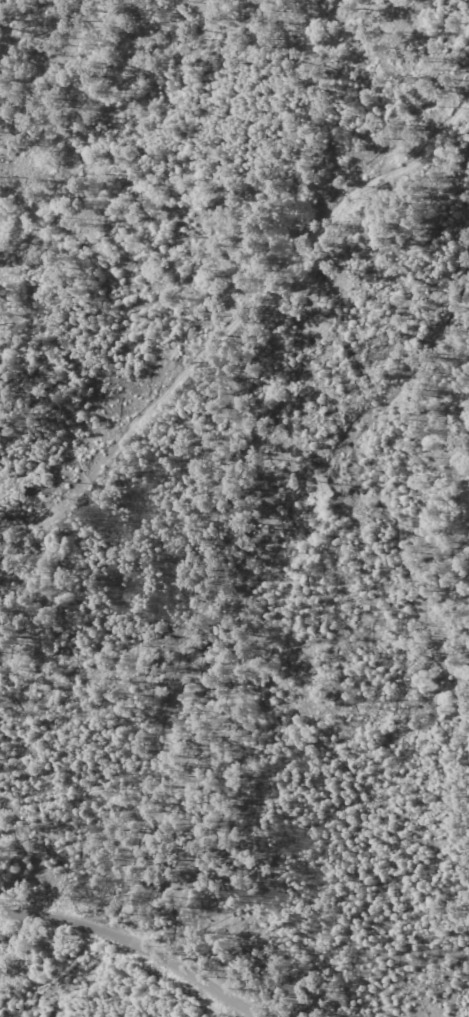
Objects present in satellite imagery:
park: (234, 508)
road: (137, 945)

